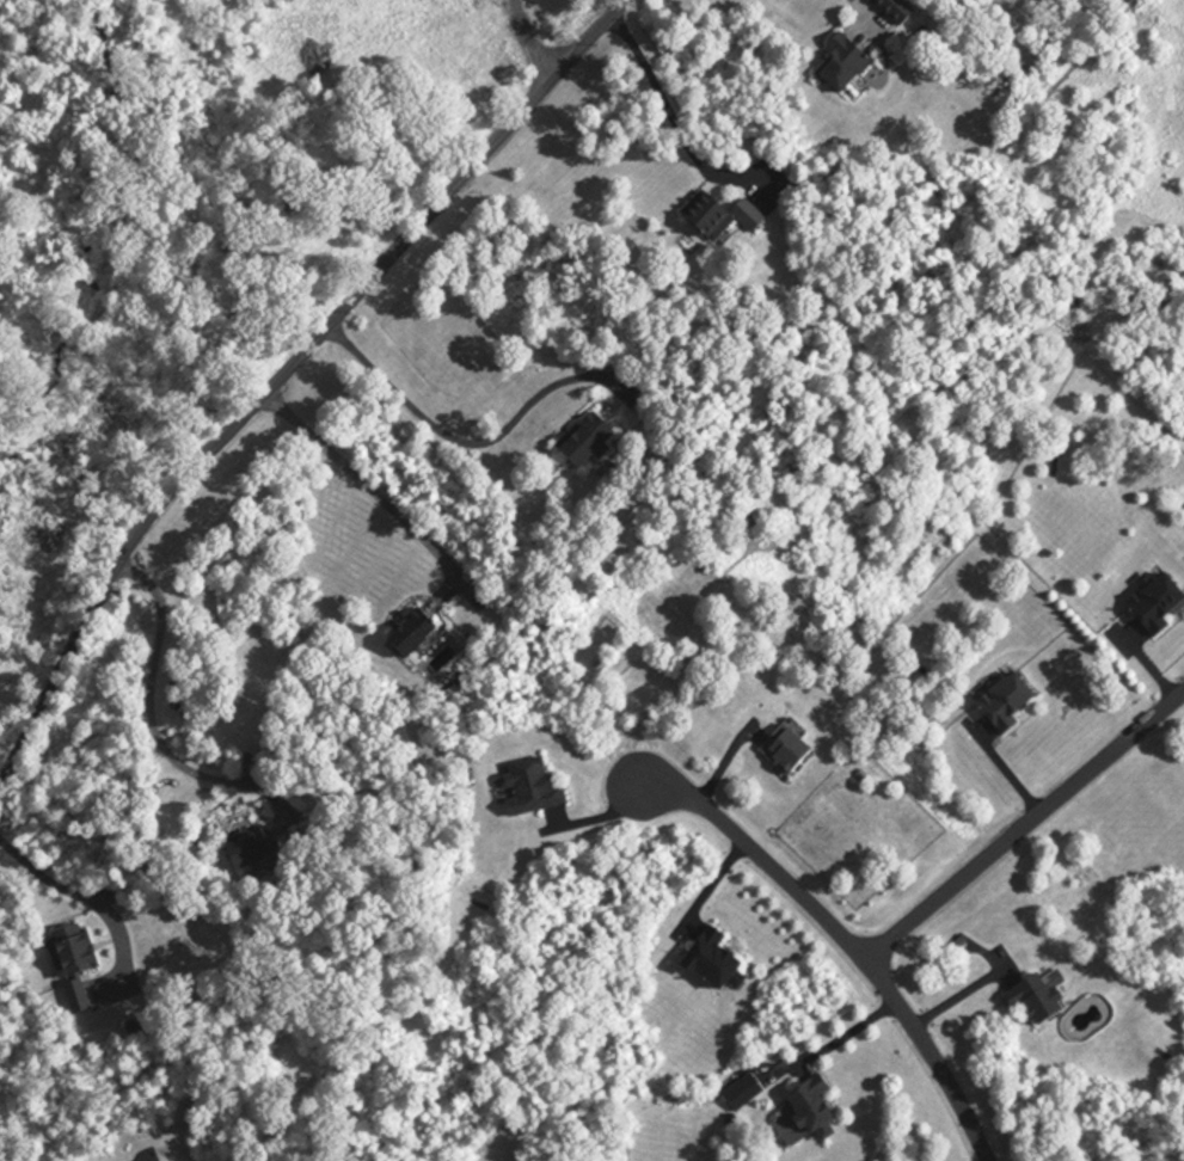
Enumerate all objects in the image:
building: (891, 11)
road: (522, 48)
building: (839, 67)
road: (669, 116)
building: (717, 220)
road: (282, 370)
road: (452, 438)
building: (581, 442)
road: (356, 475)
building: (1154, 607)
building: (407, 635)
building: (1002, 705)
road: (149, 717)
building: (781, 752)
building: (524, 791)
road: (1023, 825)
building: (246, 852)
road: (74, 893)
road: (845, 941)
building: (67, 954)
building: (708, 966)
building: (72, 1001)
building: (1031, 1003)
road: (838, 1038)
building: (806, 1112)

